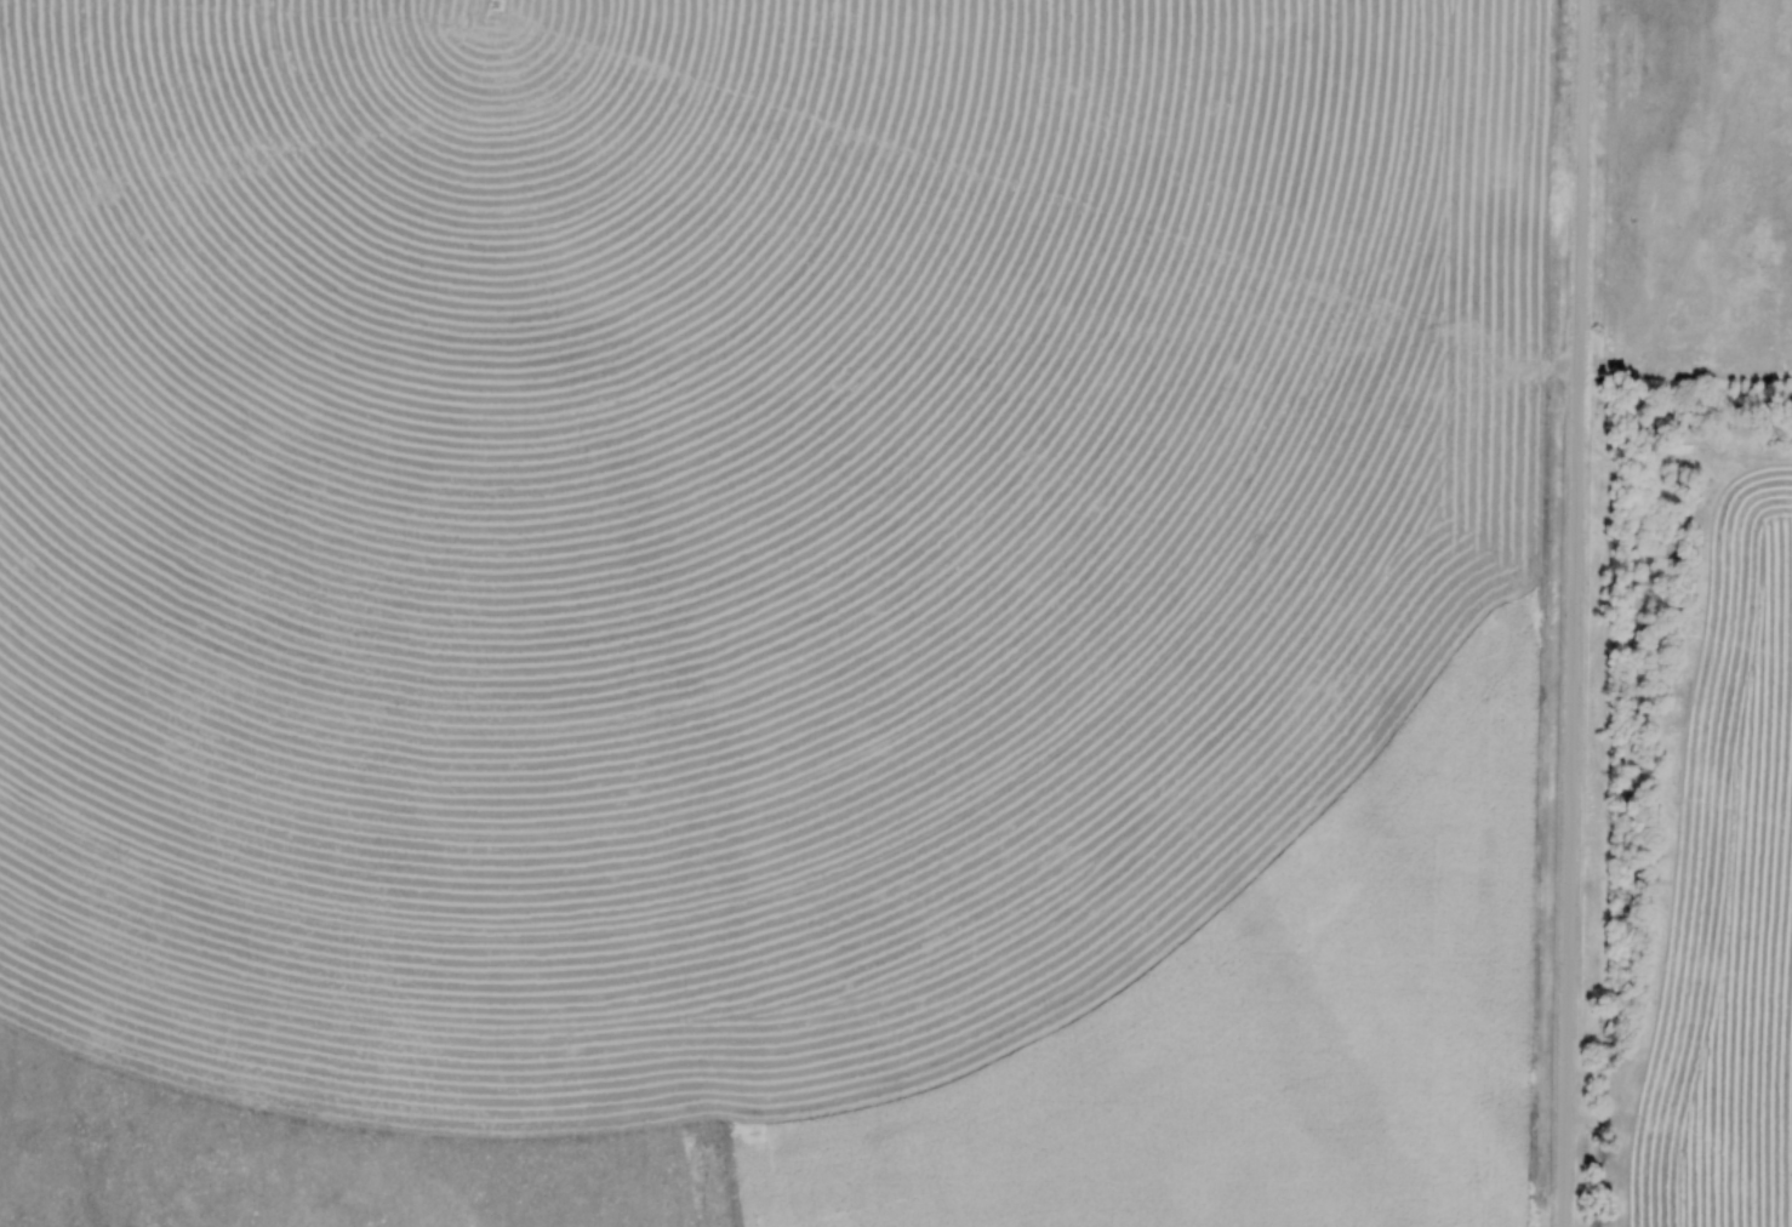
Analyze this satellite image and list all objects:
road: (1576, 612)

